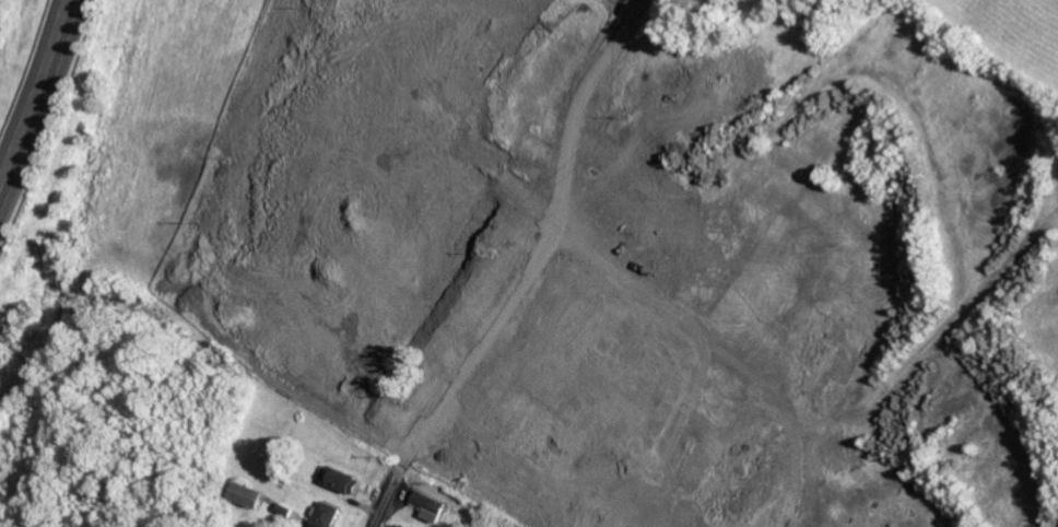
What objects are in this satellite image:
building: (728, 81)
road: (35, 97)
building: (363, 273)
building: (290, 344)
building: (430, 393)
building: (343, 479)
building: (250, 493)
road: (387, 497)
building: (431, 504)
building: (327, 514)
building: (401, 525)

